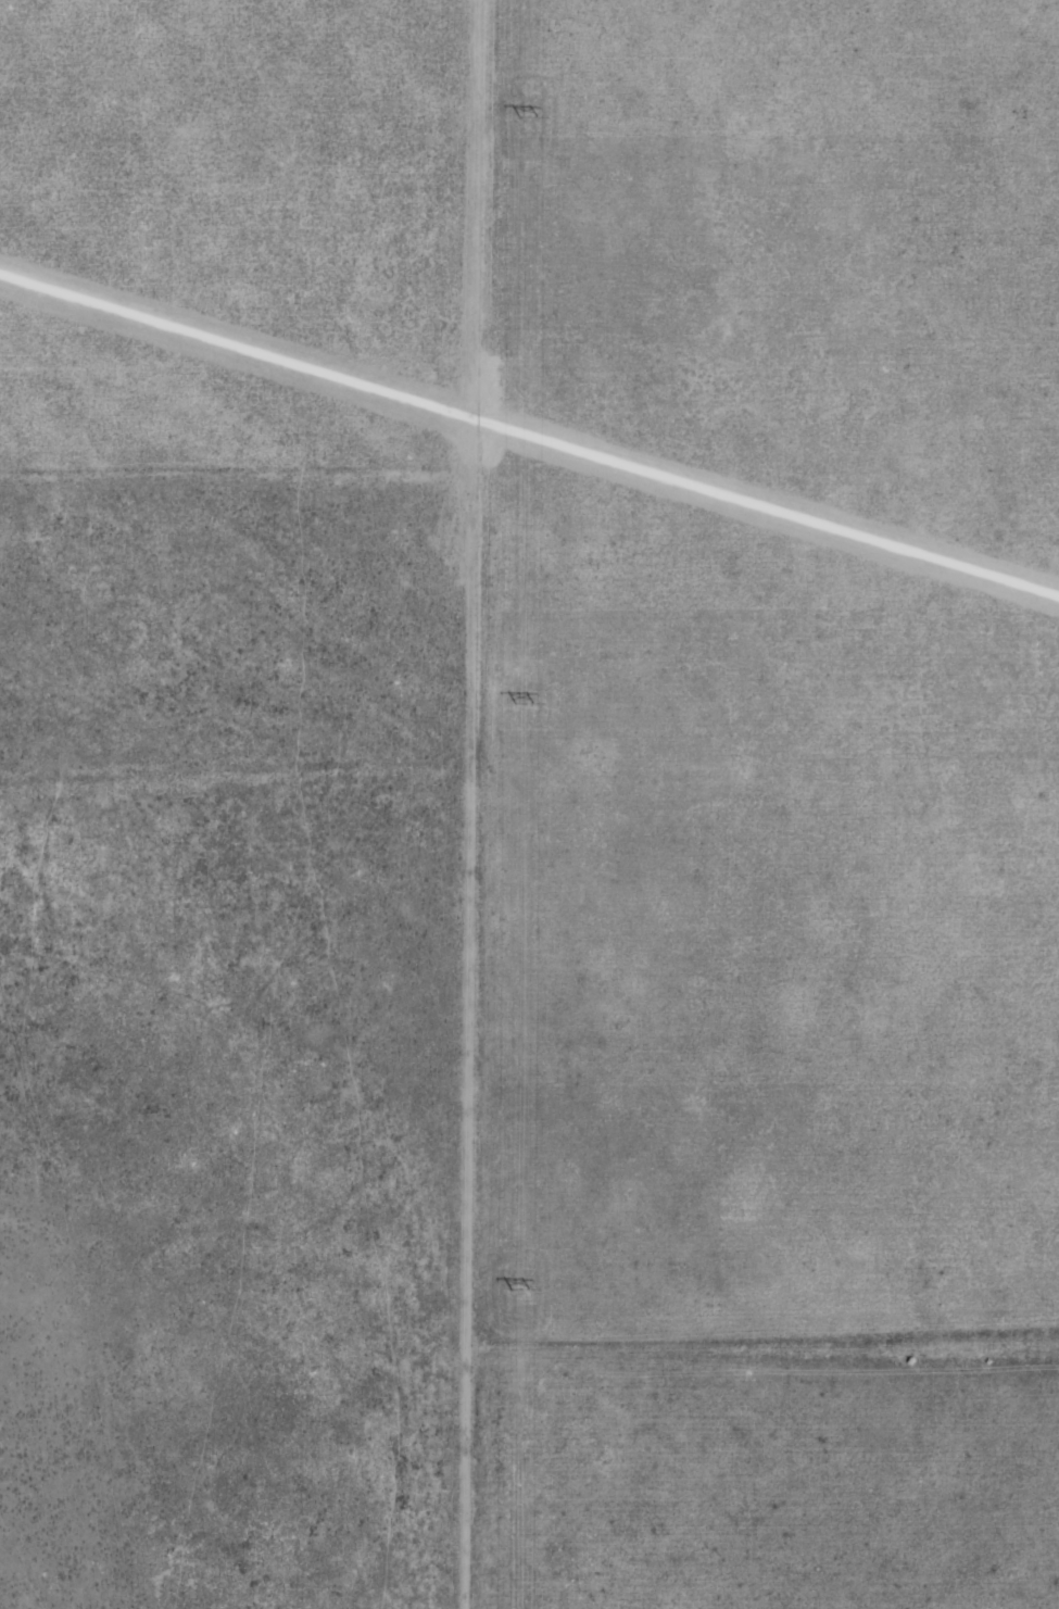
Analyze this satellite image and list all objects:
power tower: (526, 114)
power tower: (525, 701)
power tower: (518, 1289)

